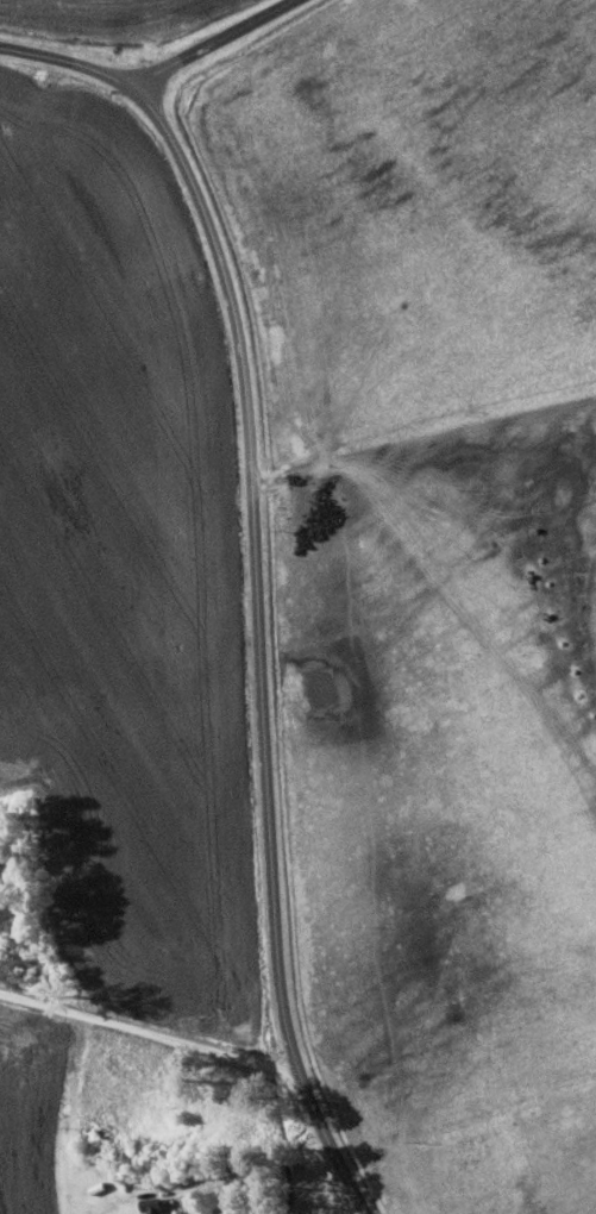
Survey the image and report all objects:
road: (212, 43)
road: (258, 575)
road: (150, 1032)
building: (155, 1207)

